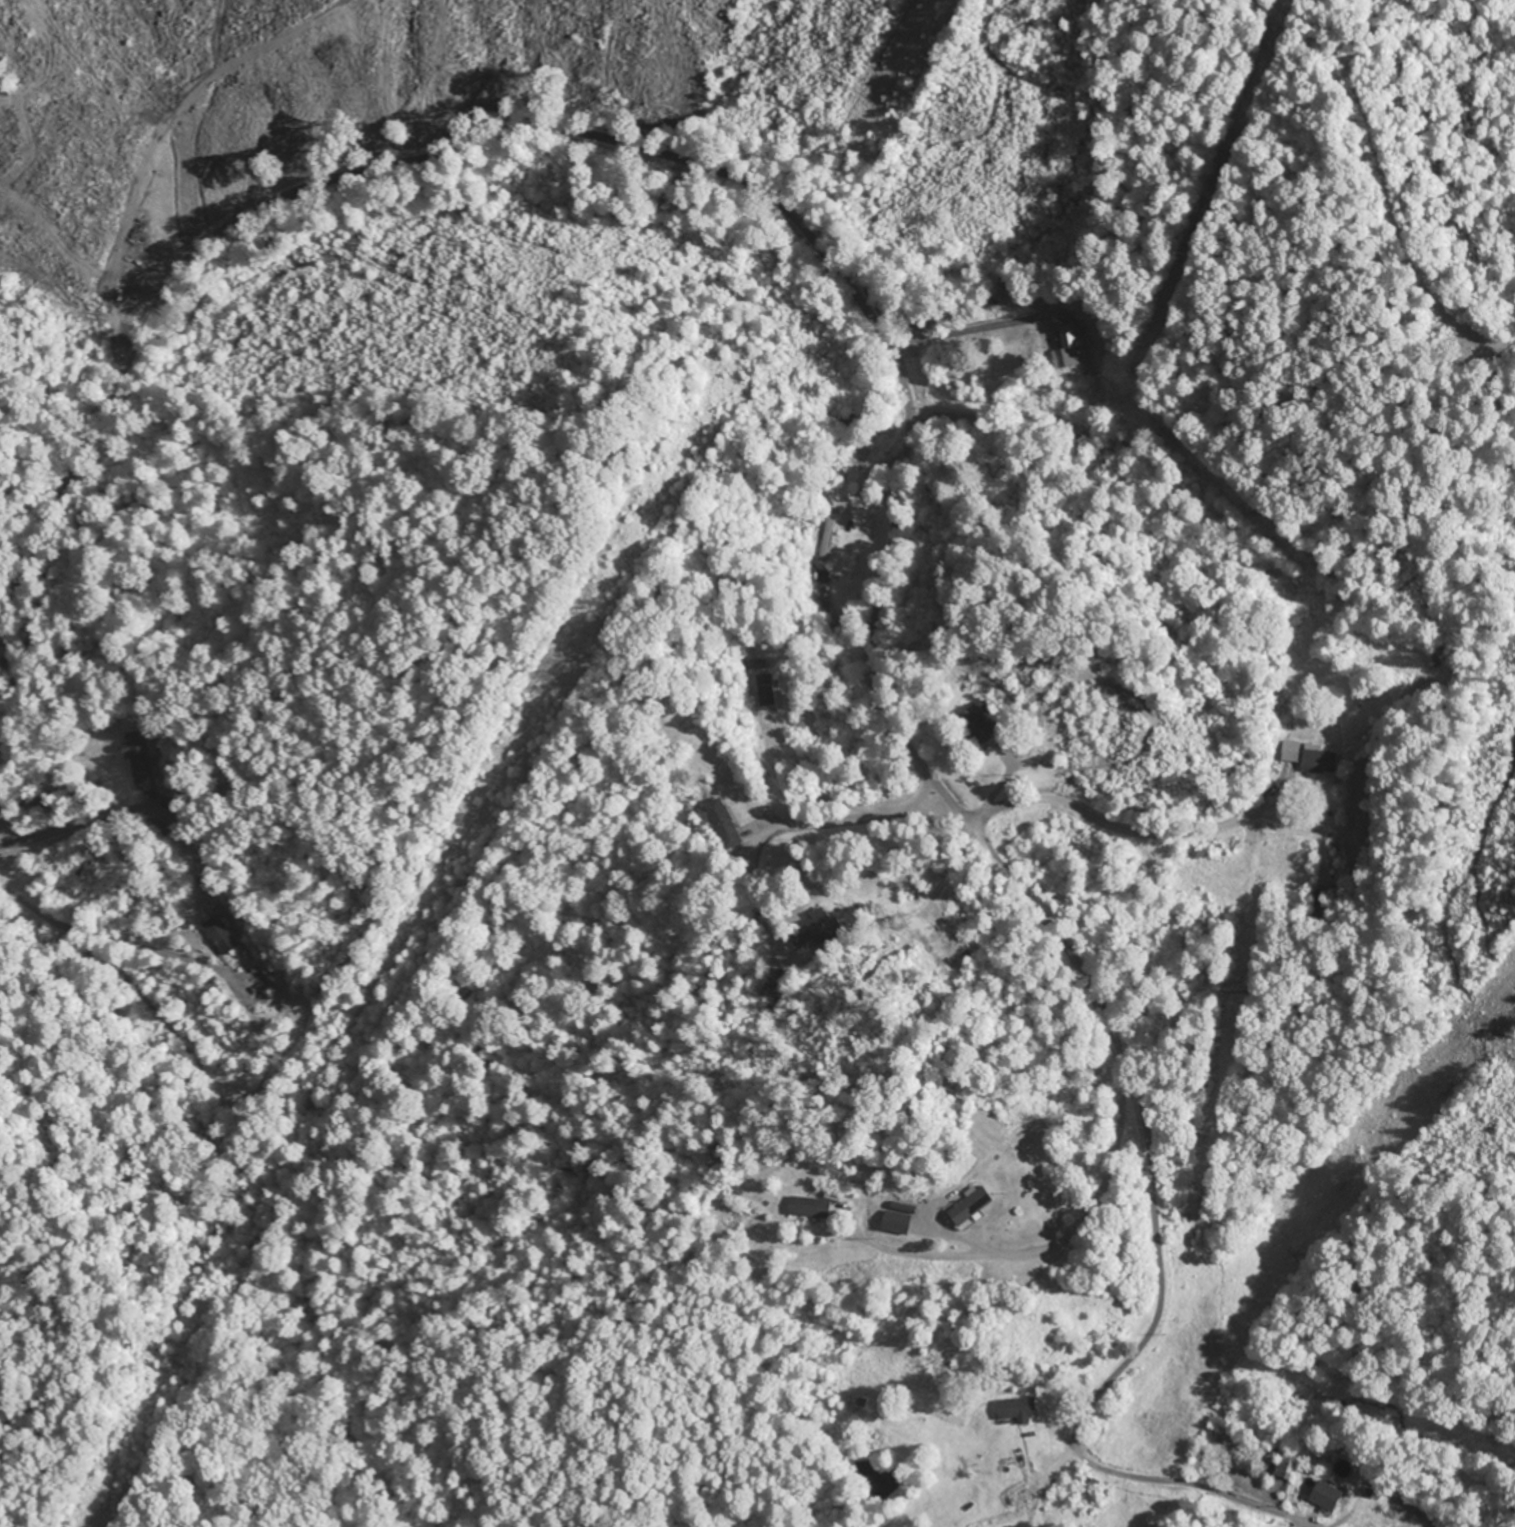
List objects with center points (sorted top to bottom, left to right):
road: (975, 334)
road: (888, 352)
building: (1067, 357)
road: (1030, 443)
building: (827, 540)
power tower: (600, 610)
building: (769, 690)
building: (139, 757)
building: (1319, 760)
building: (725, 823)
building: (178, 840)
road: (1164, 841)
building: (1317, 903)
building: (825, 925)
building: (222, 934)
building: (976, 1205)
building: (811, 1207)
building: (897, 1219)
building: (1021, 1409)

